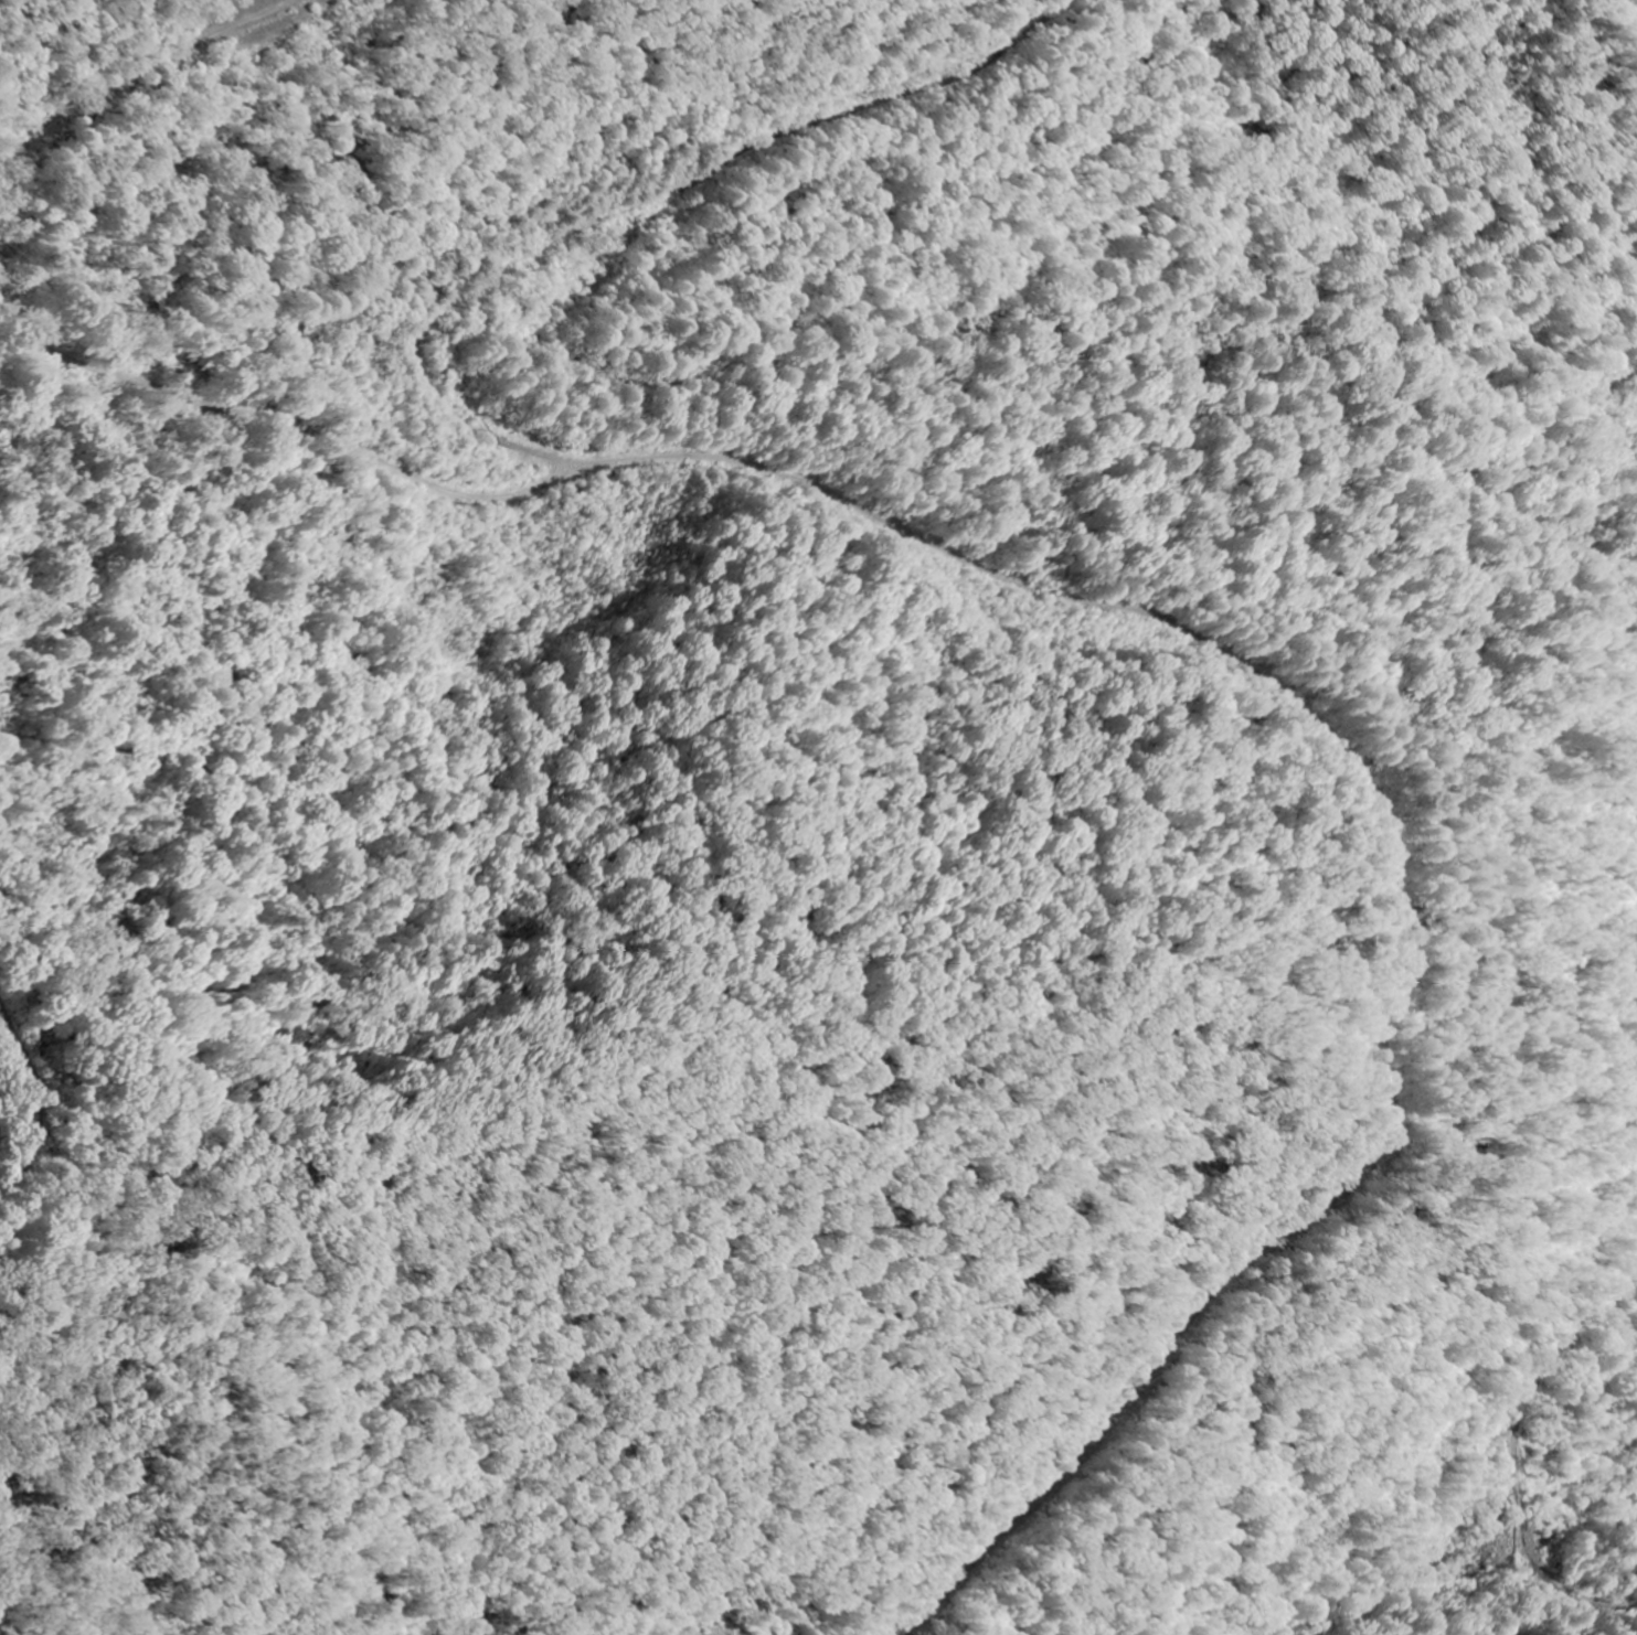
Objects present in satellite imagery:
road: (1624, 1406)

